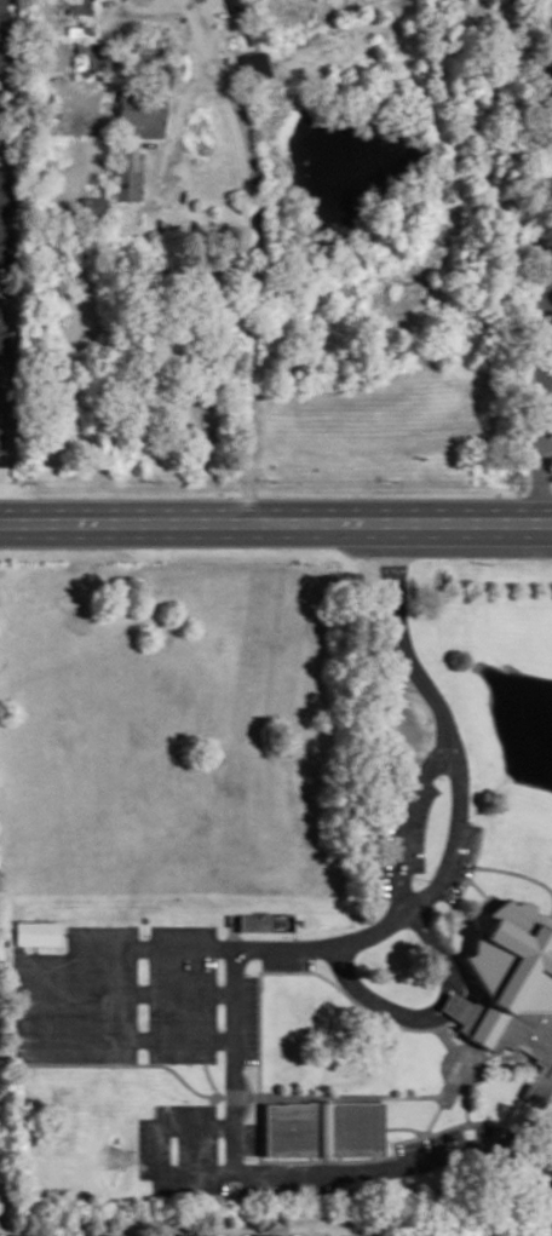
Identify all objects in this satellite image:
building: (81, 7)
building: (4, 19)
parking lot: (550, 38)
building: (255, 65)
building: (551, 68)
building: (546, 93)
building: (143, 111)
building: (132, 174)
building: (2, 219)
road: (255, 254)
building: (2, 369)
road: (547, 396)
road: (542, 399)
road: (547, 442)
road: (275, 524)
road: (398, 630)
street lamp: (443, 776)
road: (419, 780)
street lamp: (471, 818)
parking lot: (414, 839)
road: (514, 870)
street lamp: (429, 876)
road: (465, 883)
road: (479, 887)
road: (410, 907)
road: (551, 910)
building: (266, 920)
building: (38, 931)
street lamp: (148, 933)
road: (452, 948)
road: (57, 958)
street lamp: (321, 964)
street lamp: (196, 970)
street lamp: (248, 972)
building: (514, 985)
road: (134, 988)
road: (441, 994)
street lamp: (104, 995)
parking lot: (139, 995)
road: (453, 1001)
building: (456, 1004)
road: (459, 1006)
street lamp: (168, 1016)
road: (450, 1044)
road: (234, 1058)
street lamp: (189, 1063)
road: (500, 1063)
street lamp: (246, 1067)
road: (209, 1079)
road: (450, 1086)
road: (465, 1092)
road: (226, 1094)
road: (251, 1094)
road: (212, 1098)
street lamp: (185, 1099)
road: (260, 1121)
building: (326, 1126)
road: (407, 1126)
parking lot: (459, 1136)
street lamp: (134, 1149)
parking lot: (202, 1152)
street lamp: (248, 1157)
road: (303, 1172)
building: (28, 1235)
building: (103, 1235)
building: (196, 1235)
building: (271, 1235)

